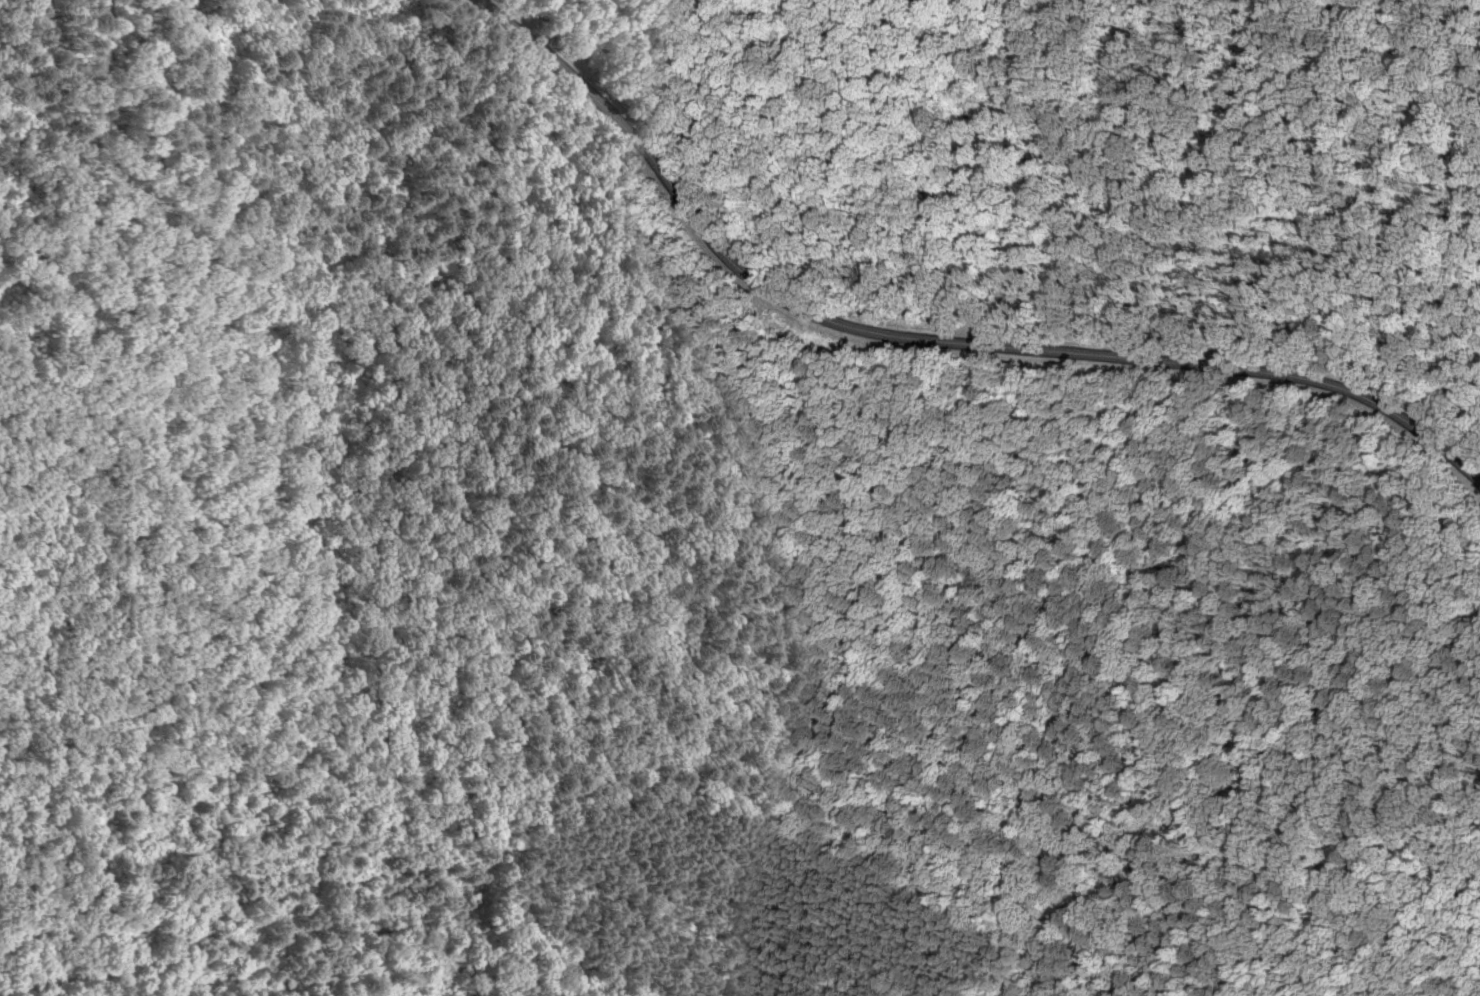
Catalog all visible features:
road: (930, 337)
road: (1095, 534)

